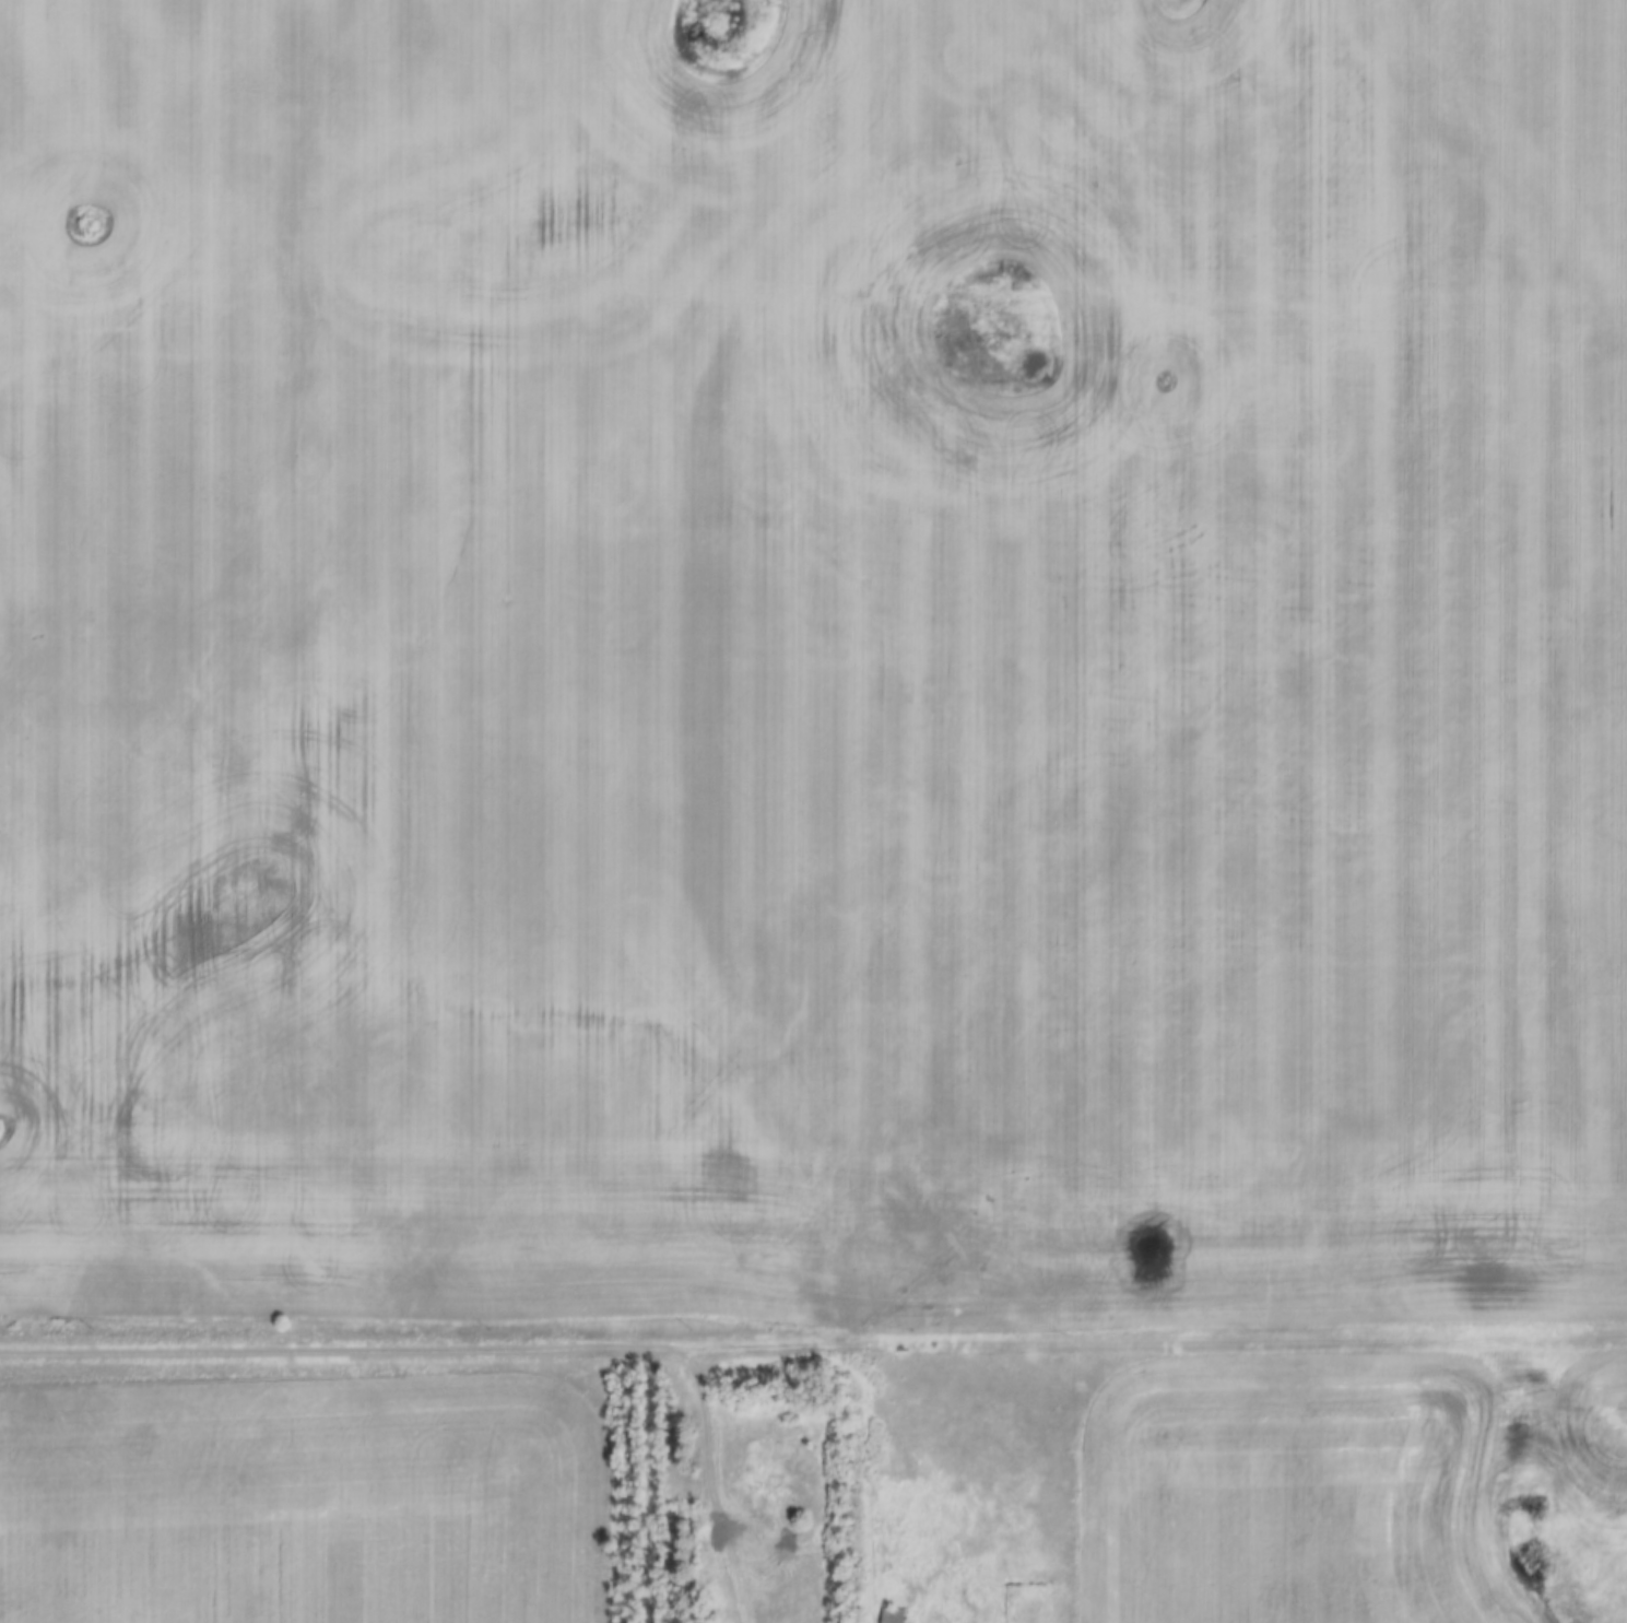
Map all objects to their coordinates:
road: (446, 1345)
building: (759, 1490)
building: (892, 1615)

